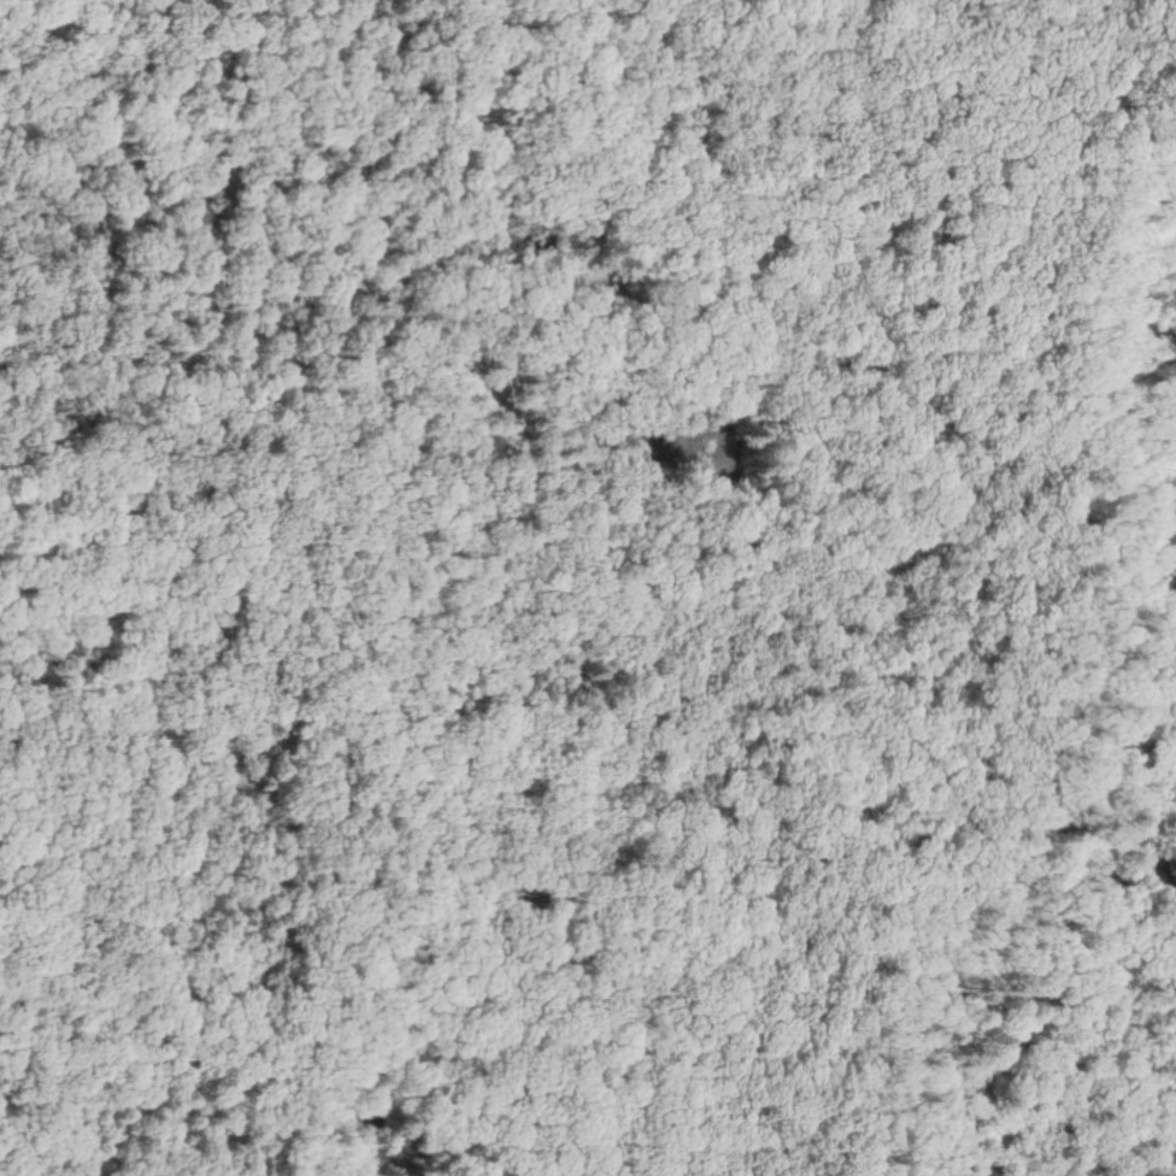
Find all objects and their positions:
park: (588, 588)
road: (489, 589)
road: (1052, 651)
road: (352, 727)
road: (193, 896)

